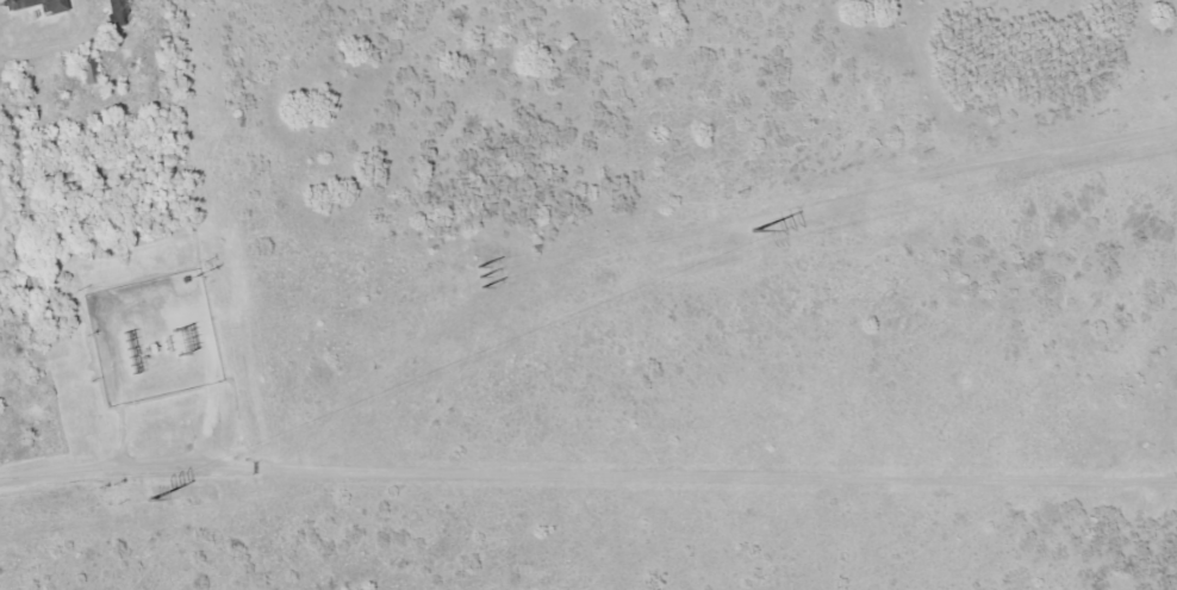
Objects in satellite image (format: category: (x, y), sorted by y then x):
building: (36, 5)
building: (116, 12)
building: (88, 69)
road: (11, 75)
power tower: (755, 231)
power tower: (473, 278)
power substation: (151, 335)
road: (26, 476)
road: (615, 478)
power tower: (148, 502)

